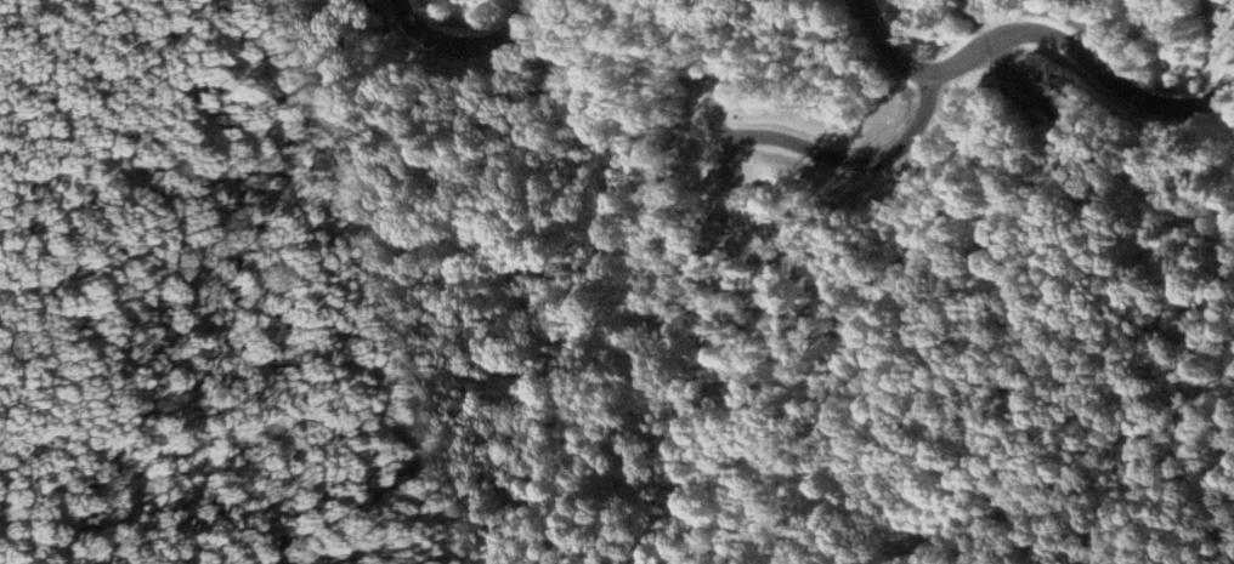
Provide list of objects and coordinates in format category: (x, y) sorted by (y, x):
road: (1228, 18)
road: (508, 22)
road: (1013, 35)
road: (438, 42)
road: (1230, 76)
road: (1207, 99)

